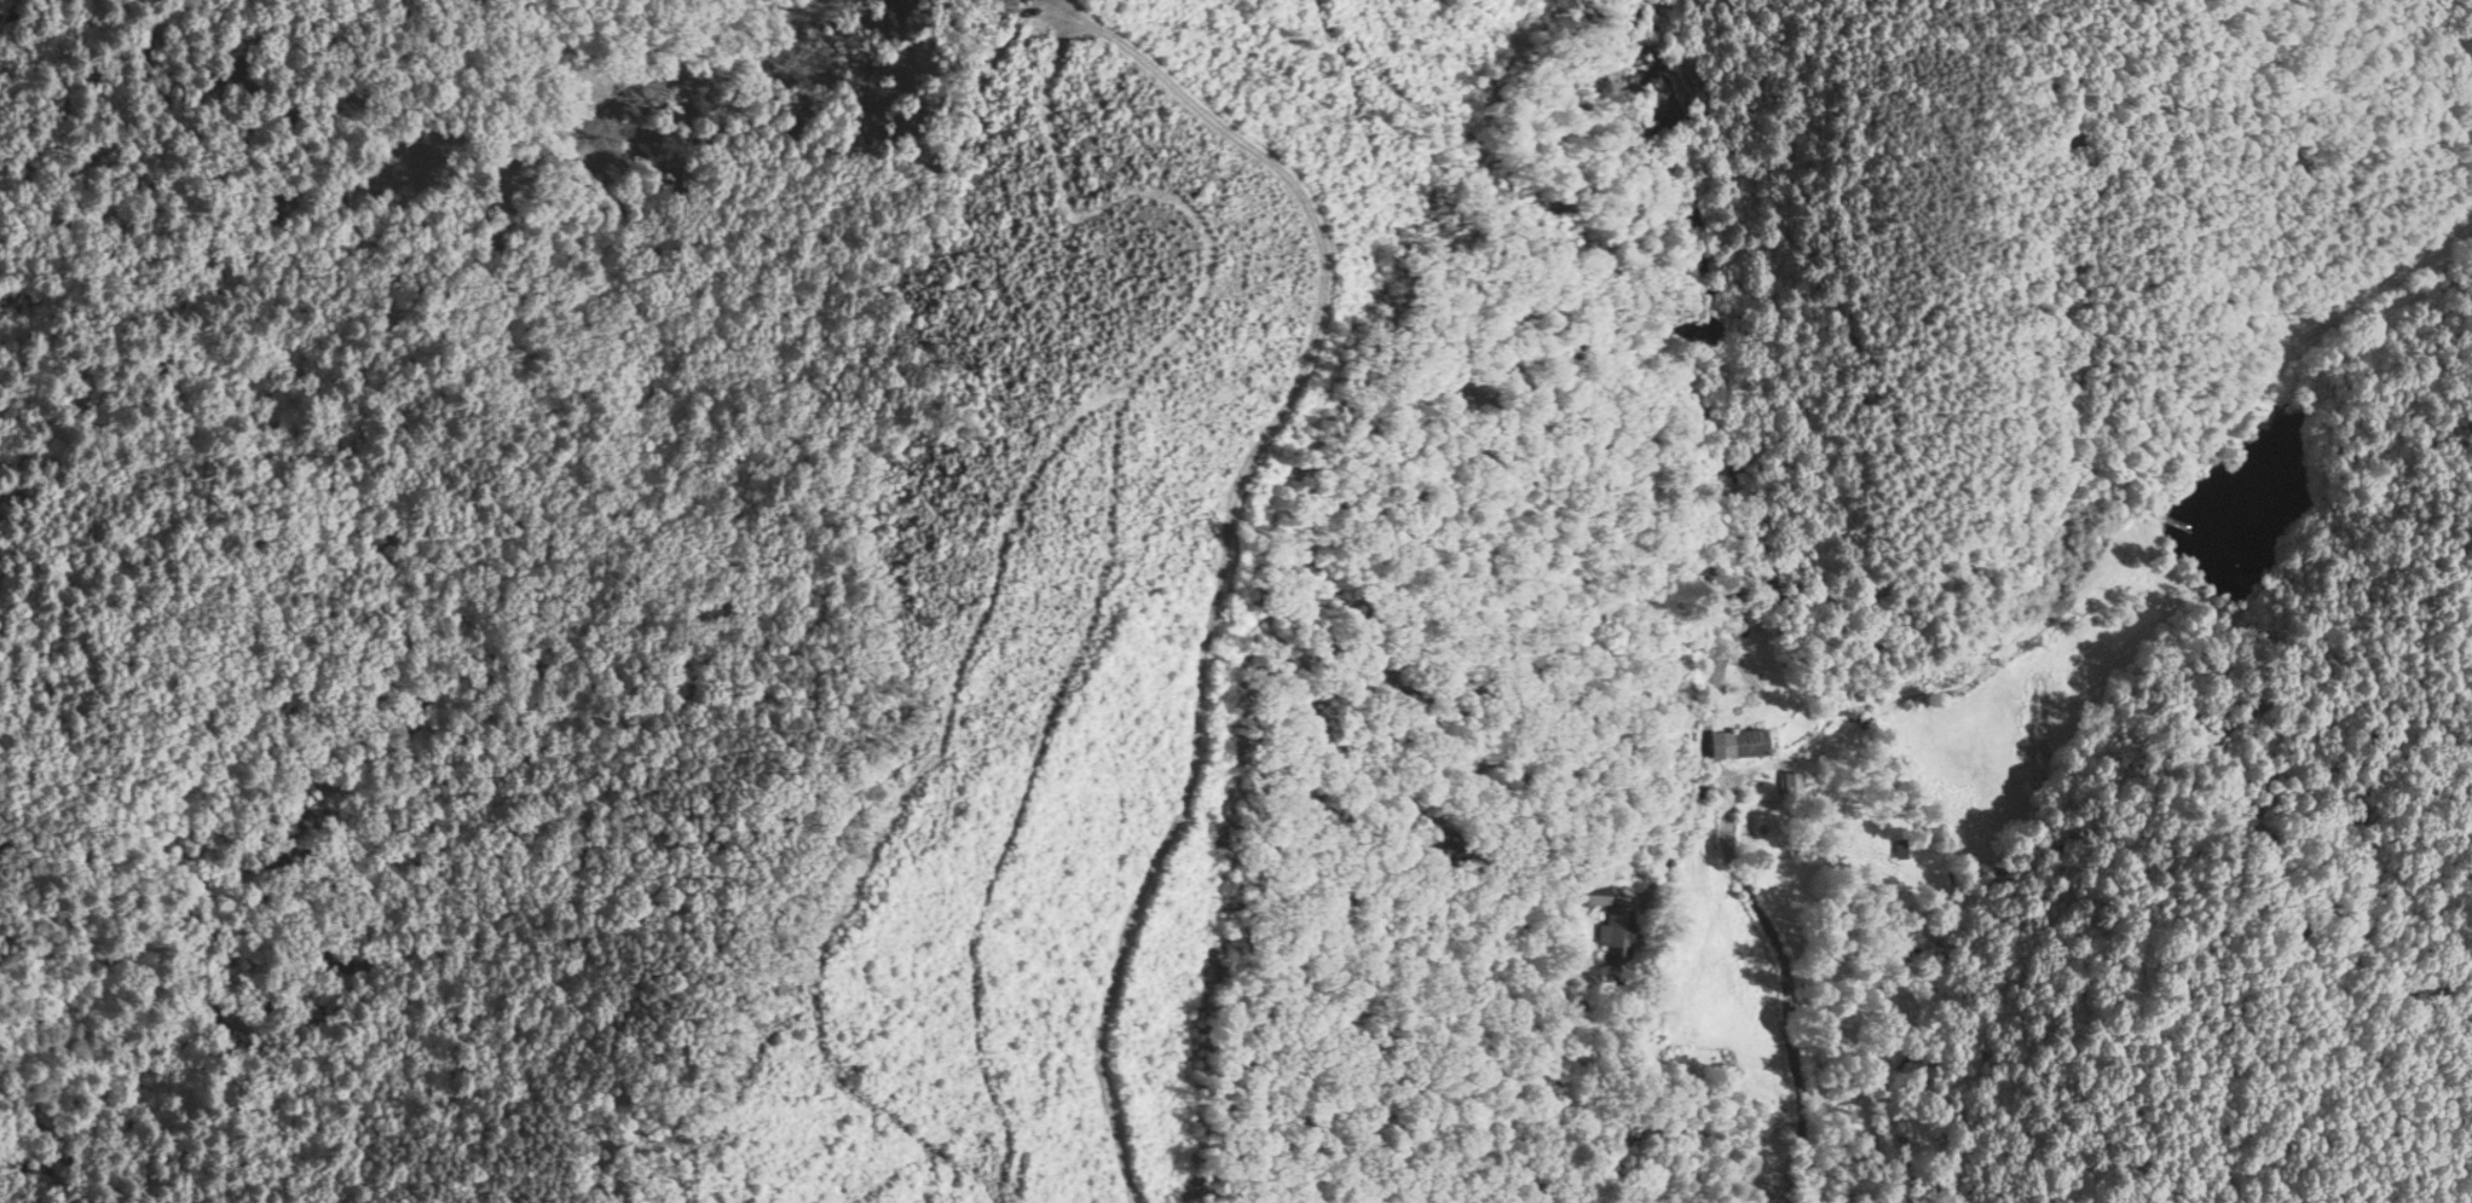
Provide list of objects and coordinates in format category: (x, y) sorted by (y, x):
building: (1737, 746)
building: (1594, 897)
building: (1613, 935)

